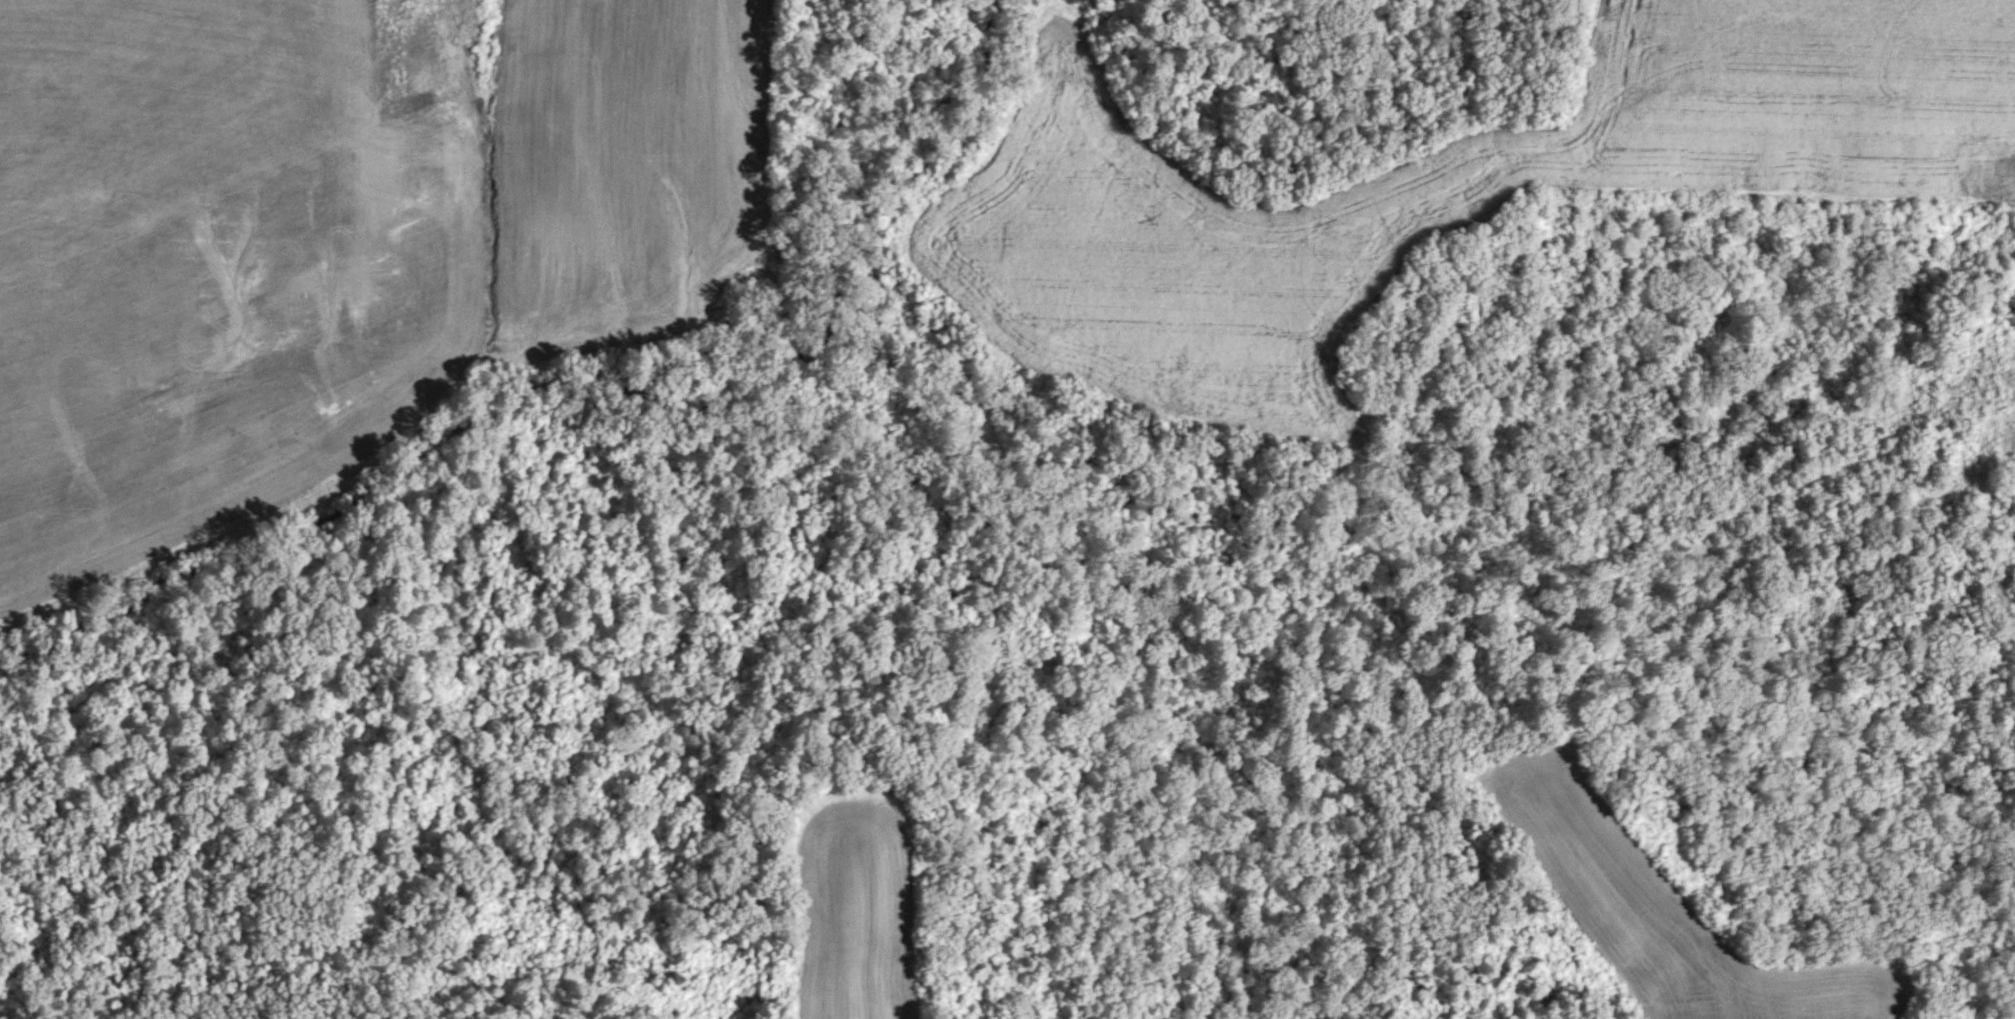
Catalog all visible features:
crop: (801, 0)
crop: (1436, 191)

